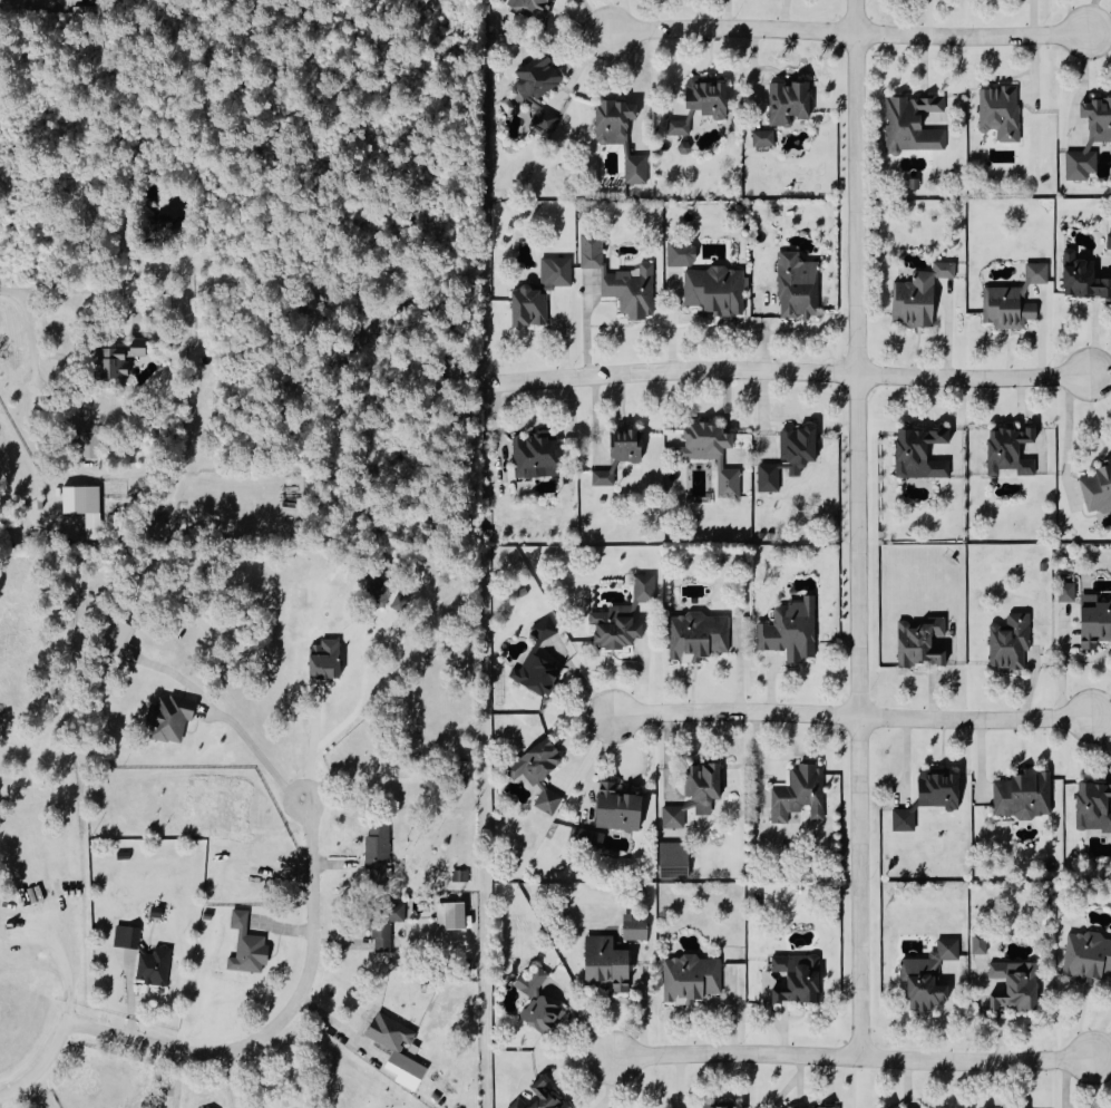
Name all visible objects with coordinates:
building: (532, 8)
road: (1092, 16)
road: (595, 19)
road: (850, 33)
building: (539, 79)
building: (709, 98)
building: (790, 104)
building: (1002, 114)
building: (546, 119)
building: (615, 123)
building: (915, 125)
building: (680, 128)
building: (764, 138)
building: (637, 169)
building: (1110, 241)
building: (682, 253)
building: (557, 272)
building: (1083, 276)
building: (623, 280)
building: (799, 285)
building: (717, 290)
road: (84, 291)
building: (920, 295)
building: (1015, 300)
building: (530, 307)
road: (31, 339)
building: (121, 357)
road: (781, 371)
road: (1069, 436)
building: (91, 445)
building: (1012, 450)
building: (922, 453)
building: (622, 454)
building: (713, 454)
building: (537, 456)
building: (790, 456)
building: (1098, 489)
building: (85, 504)
road: (857, 527)
building: (379, 589)
building: (1069, 592)
building: (401, 602)
building: (624, 616)
building: (1095, 620)
building: (792, 630)
building: (699, 635)
building: (120, 639)
building: (1012, 640)
building: (923, 642)
building: (327, 659)
building: (539, 662)
road: (852, 715)
building: (170, 718)
road: (265, 758)
road: (758, 761)
building: (538, 762)
building: (941, 790)
building: (696, 794)
building: (801, 794)
building: (1025, 795)
building: (549, 800)
building: (618, 808)
building: (905, 819)
building: (588, 837)
building: (379, 851)
building: (675, 859)
building: (452, 916)
building: (386, 924)
building: (636, 927)
building: (128, 937)
building: (981, 943)
building: (248, 946)
building: (1088, 956)
building: (608, 963)
building: (155, 966)
building: (929, 976)
building: (692, 979)
building: (798, 979)
building: (1017, 985)
building: (539, 1002)
road: (281, 1018)
road: (737, 1052)
road: (974, 1060)
road: (41, 1065)
building: (411, 1075)
road: (178, 1079)
road: (232, 1079)
building: (544, 1098)
building: (829, 1107)

